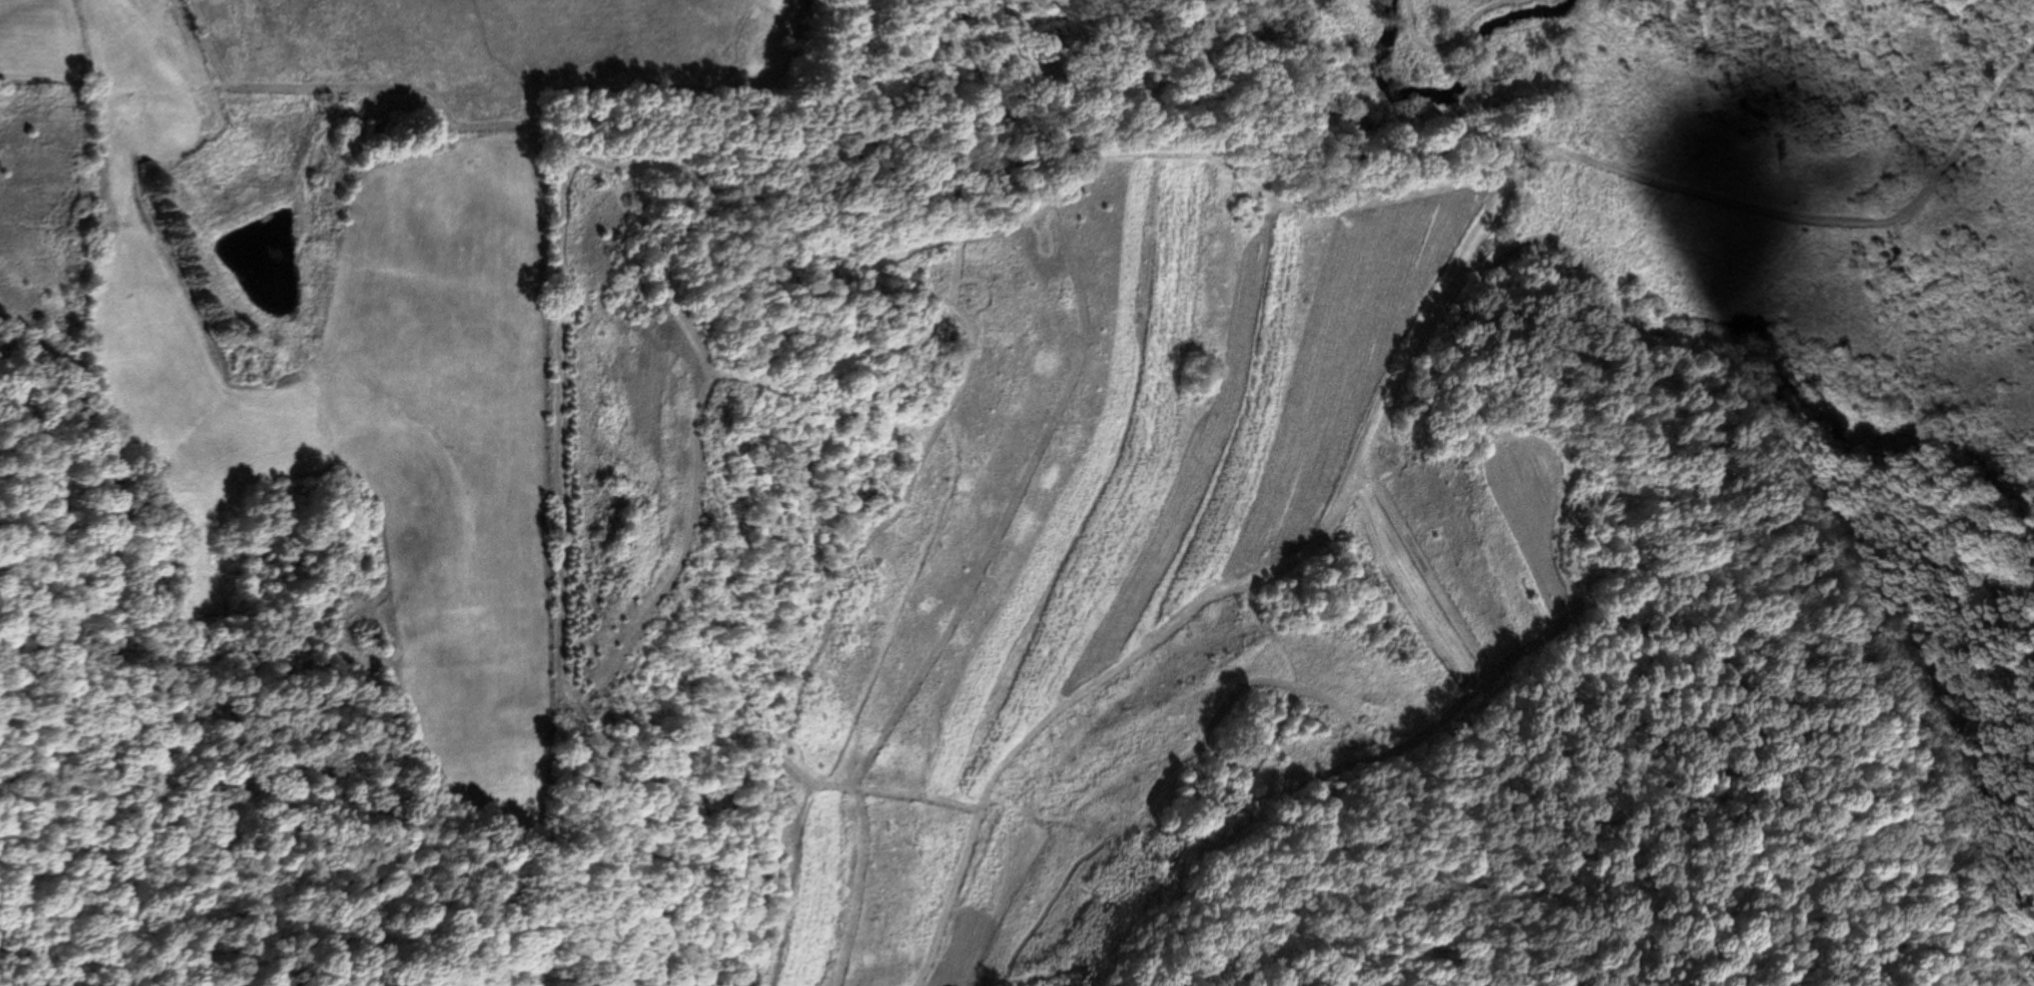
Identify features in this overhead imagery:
river: (1475, 74)

